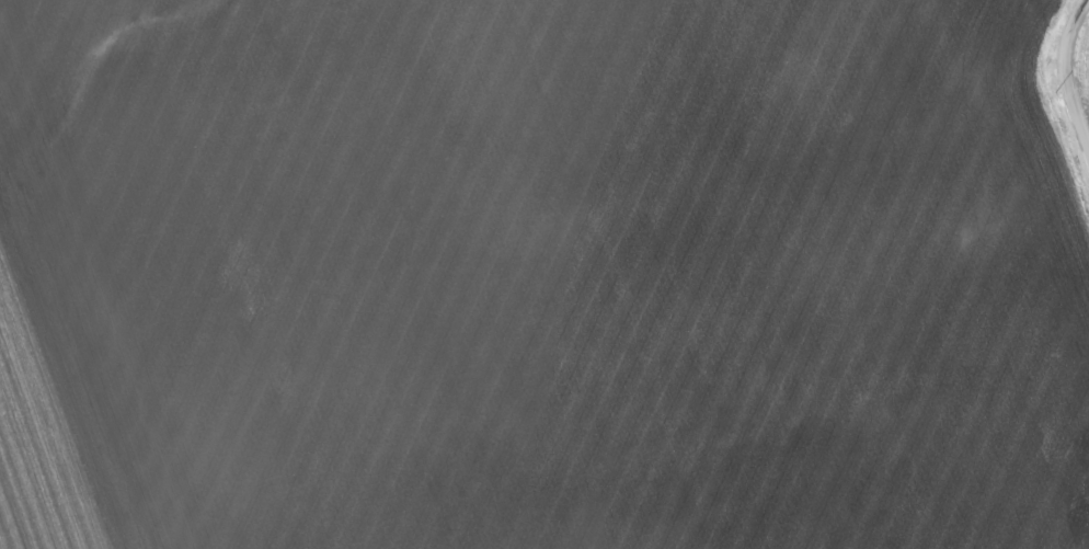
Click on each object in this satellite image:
road: (1068, 73)

